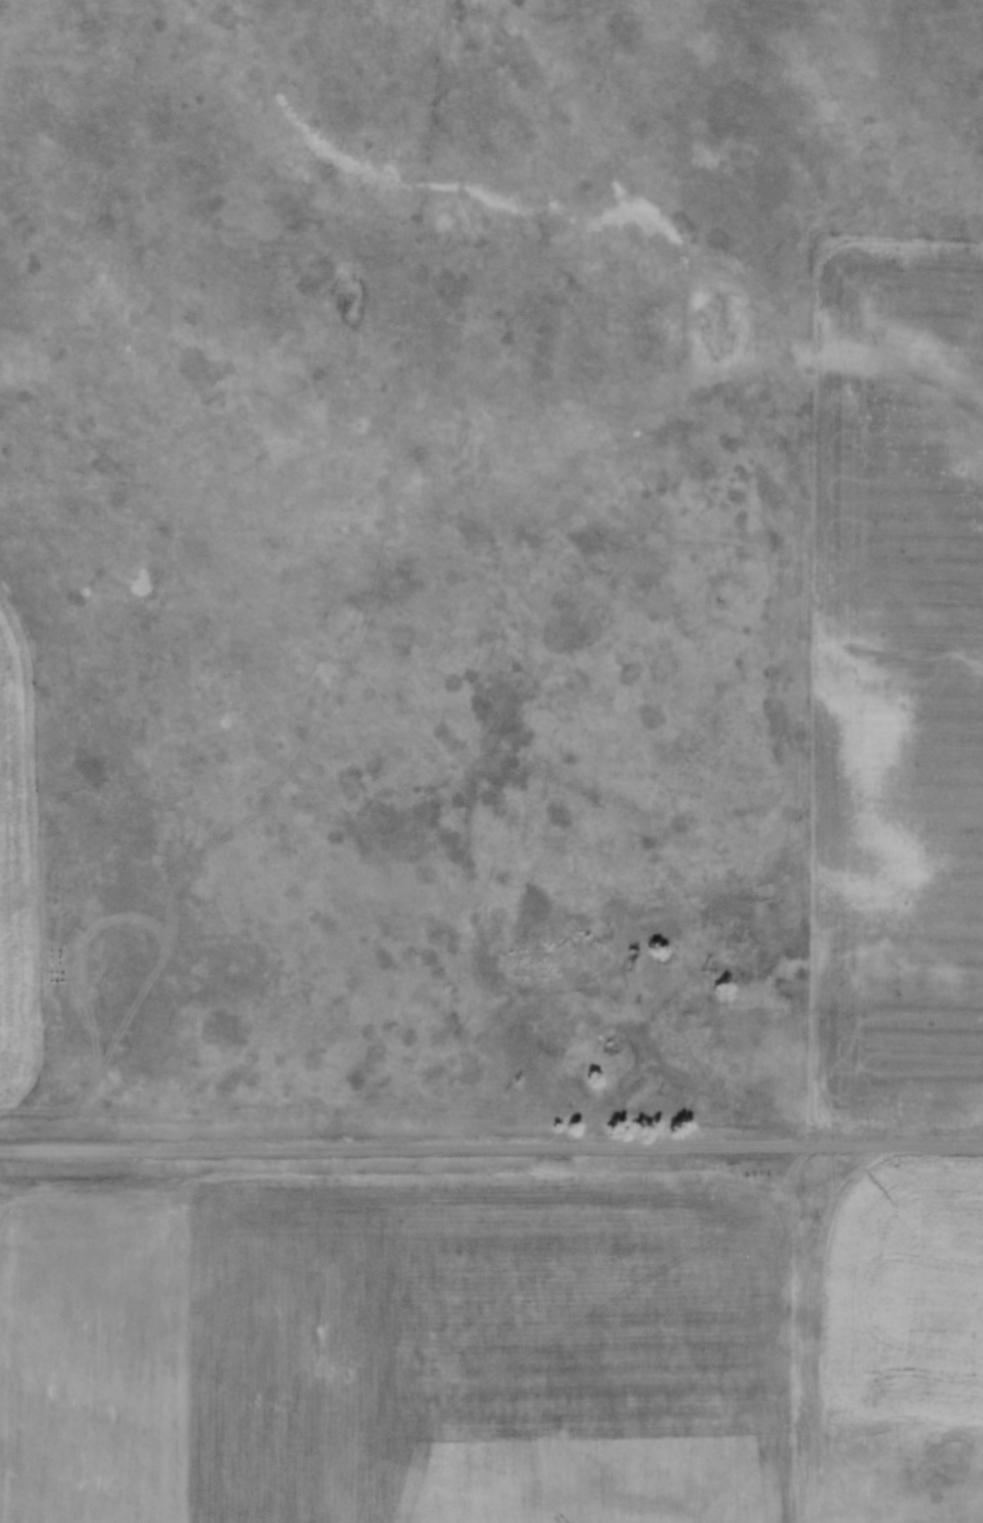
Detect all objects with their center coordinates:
road: (491, 1150)

